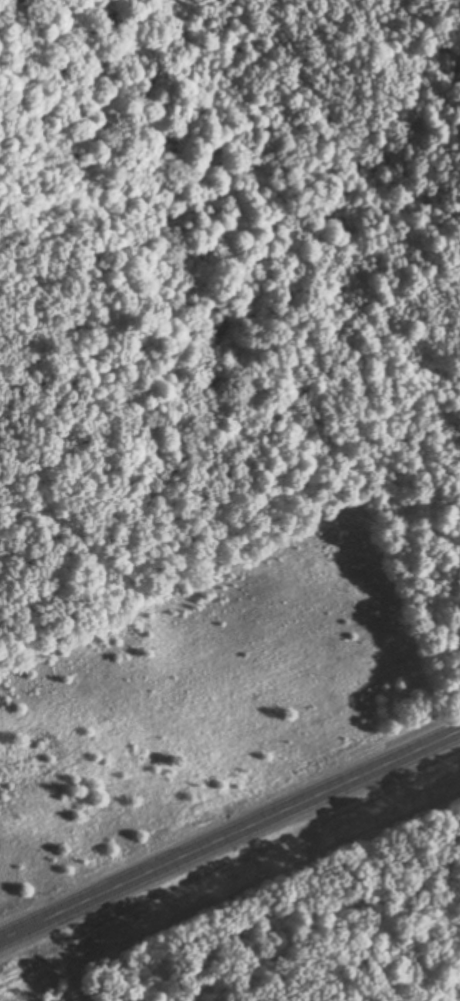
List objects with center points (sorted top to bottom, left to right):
road: (230, 831)

